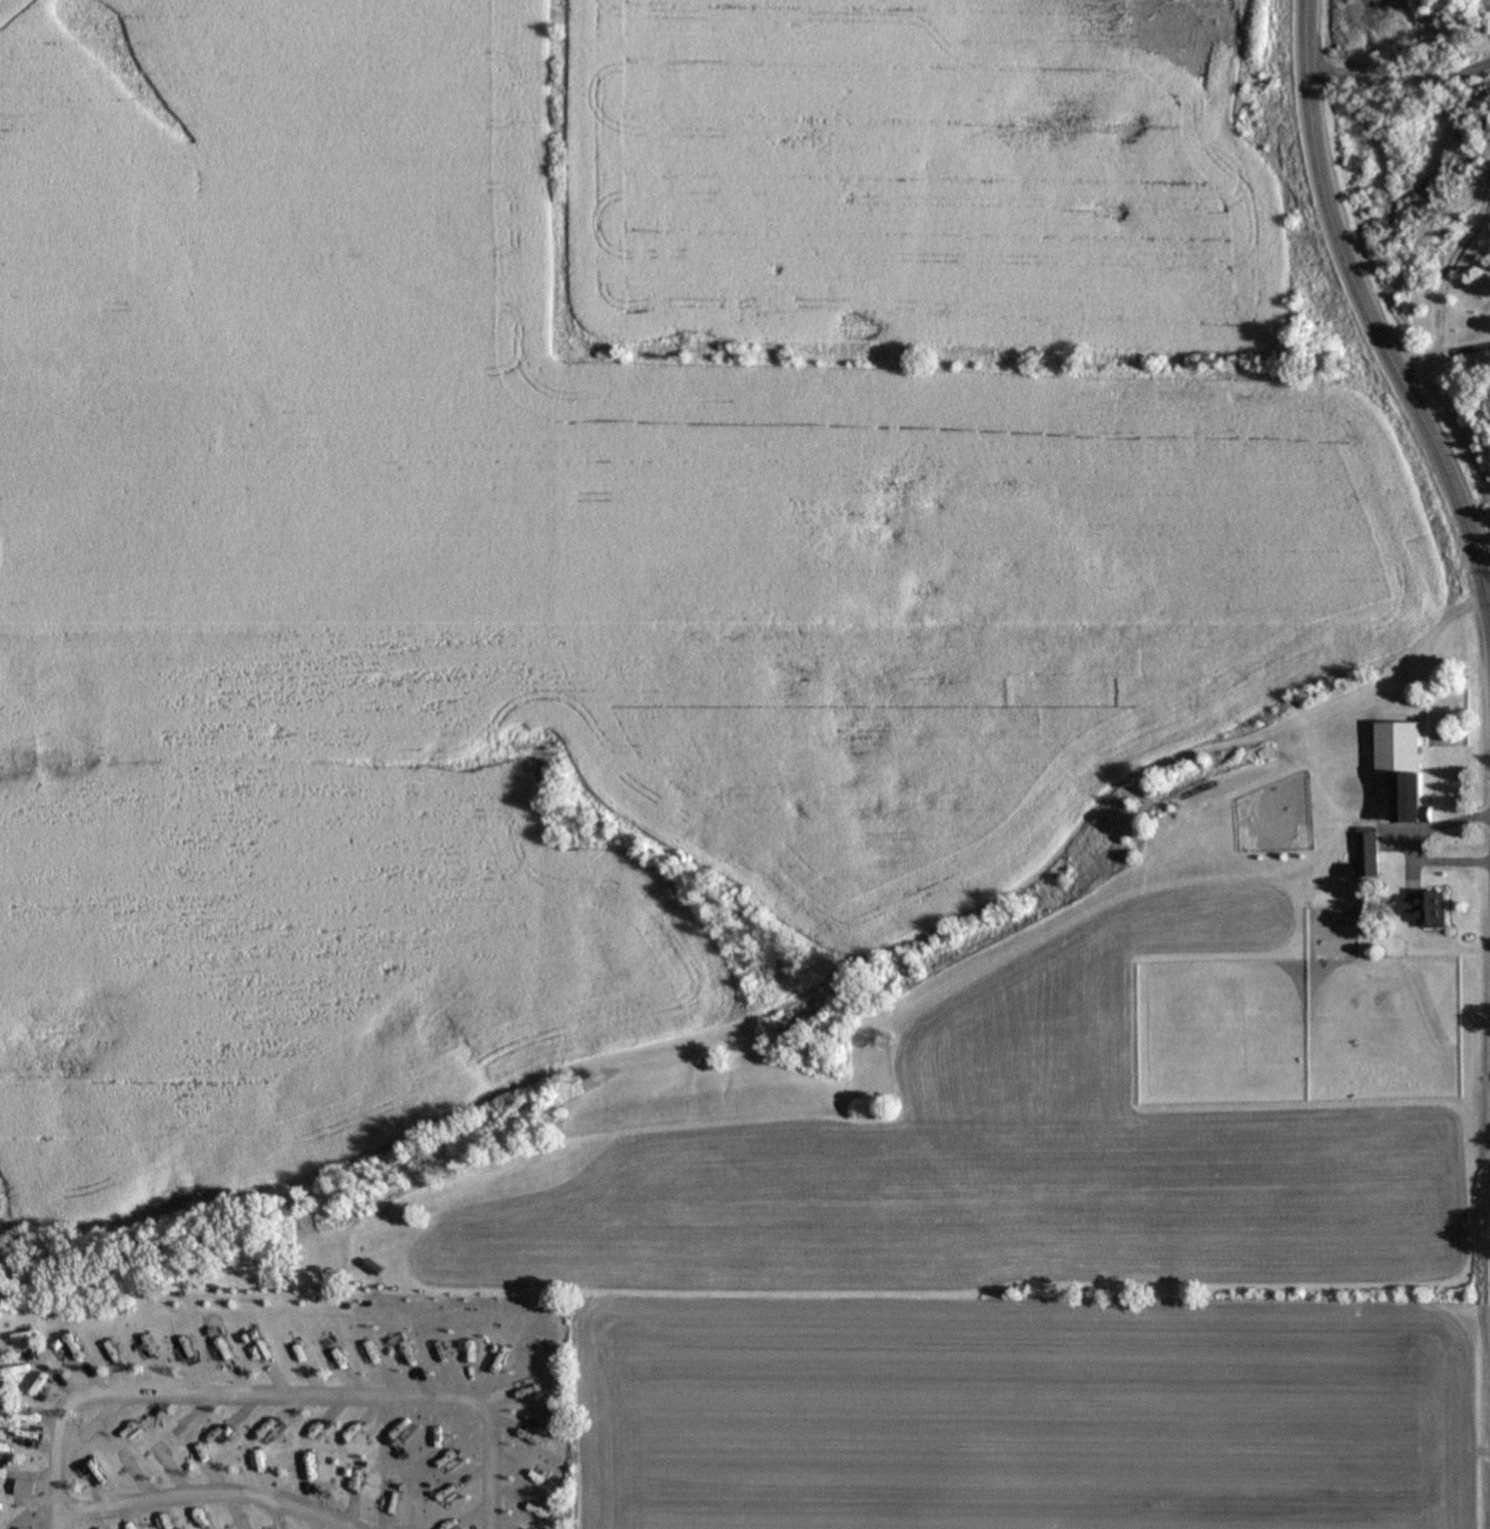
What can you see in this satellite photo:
road: (1399, 75)
road: (1364, 323)
road: (1438, 357)
road: (1477, 521)
building: (1399, 765)
road: (1441, 824)
building: (1362, 856)
road: (1441, 856)
building: (1426, 906)
building: (24, 1339)
road: (272, 1392)
road: (54, 1464)
road: (489, 1465)
road: (206, 1494)

